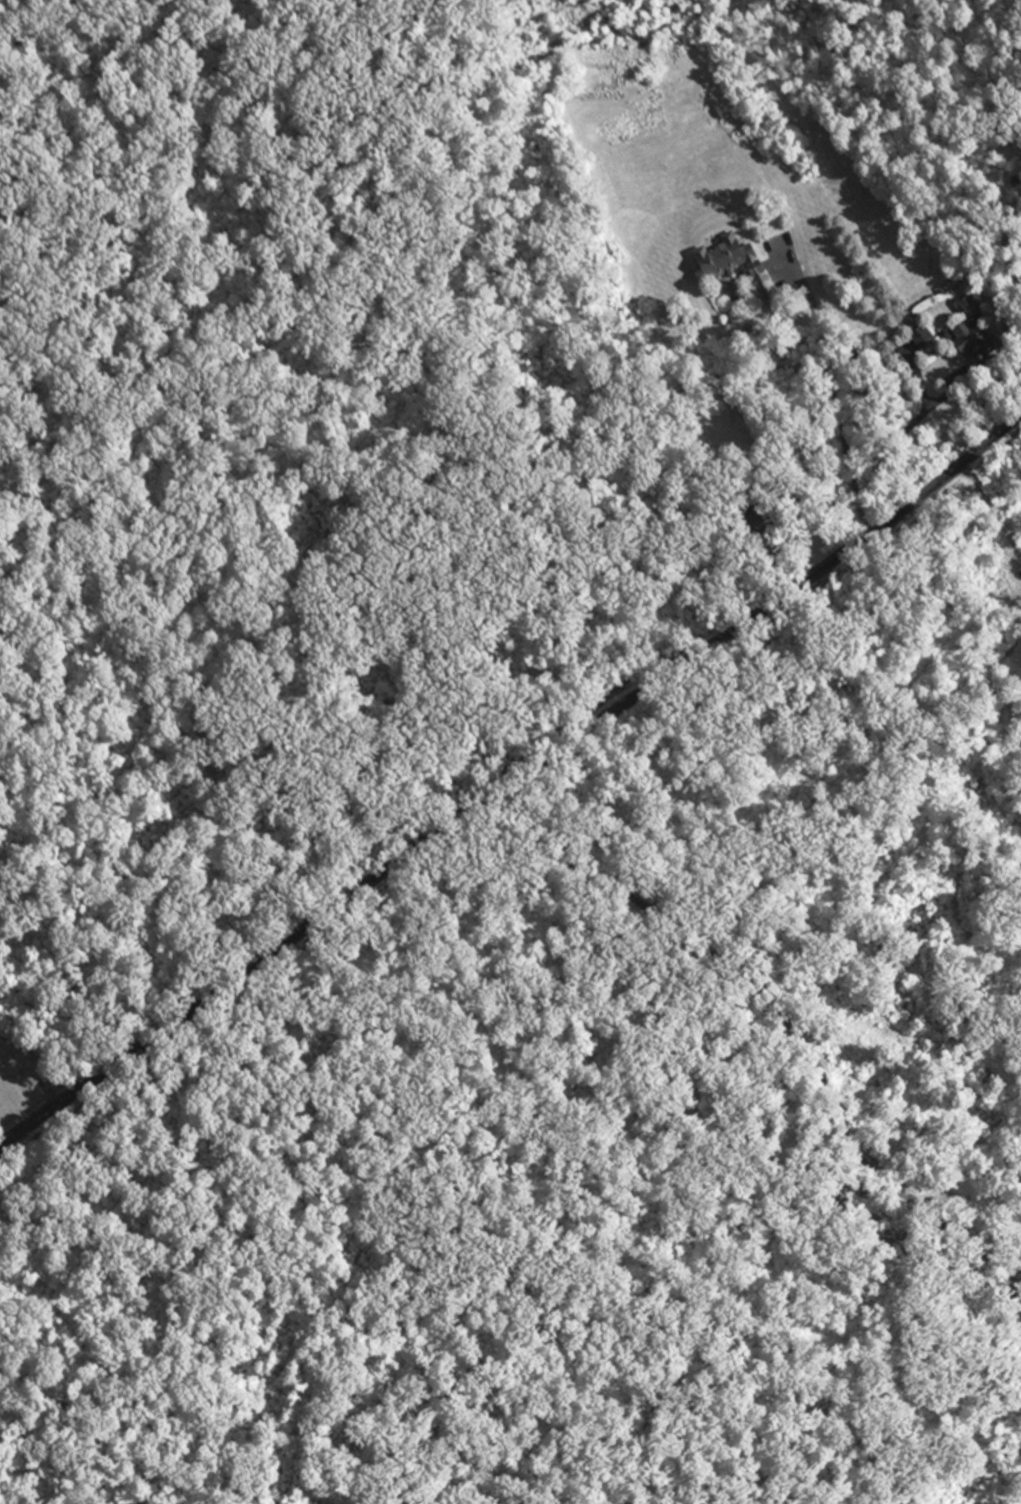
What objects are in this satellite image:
building: (738, 266)
building: (931, 340)
building: (979, 340)
road: (836, 410)
road: (512, 781)
road: (554, 846)
road: (822, 1090)
road: (1000, 1409)

